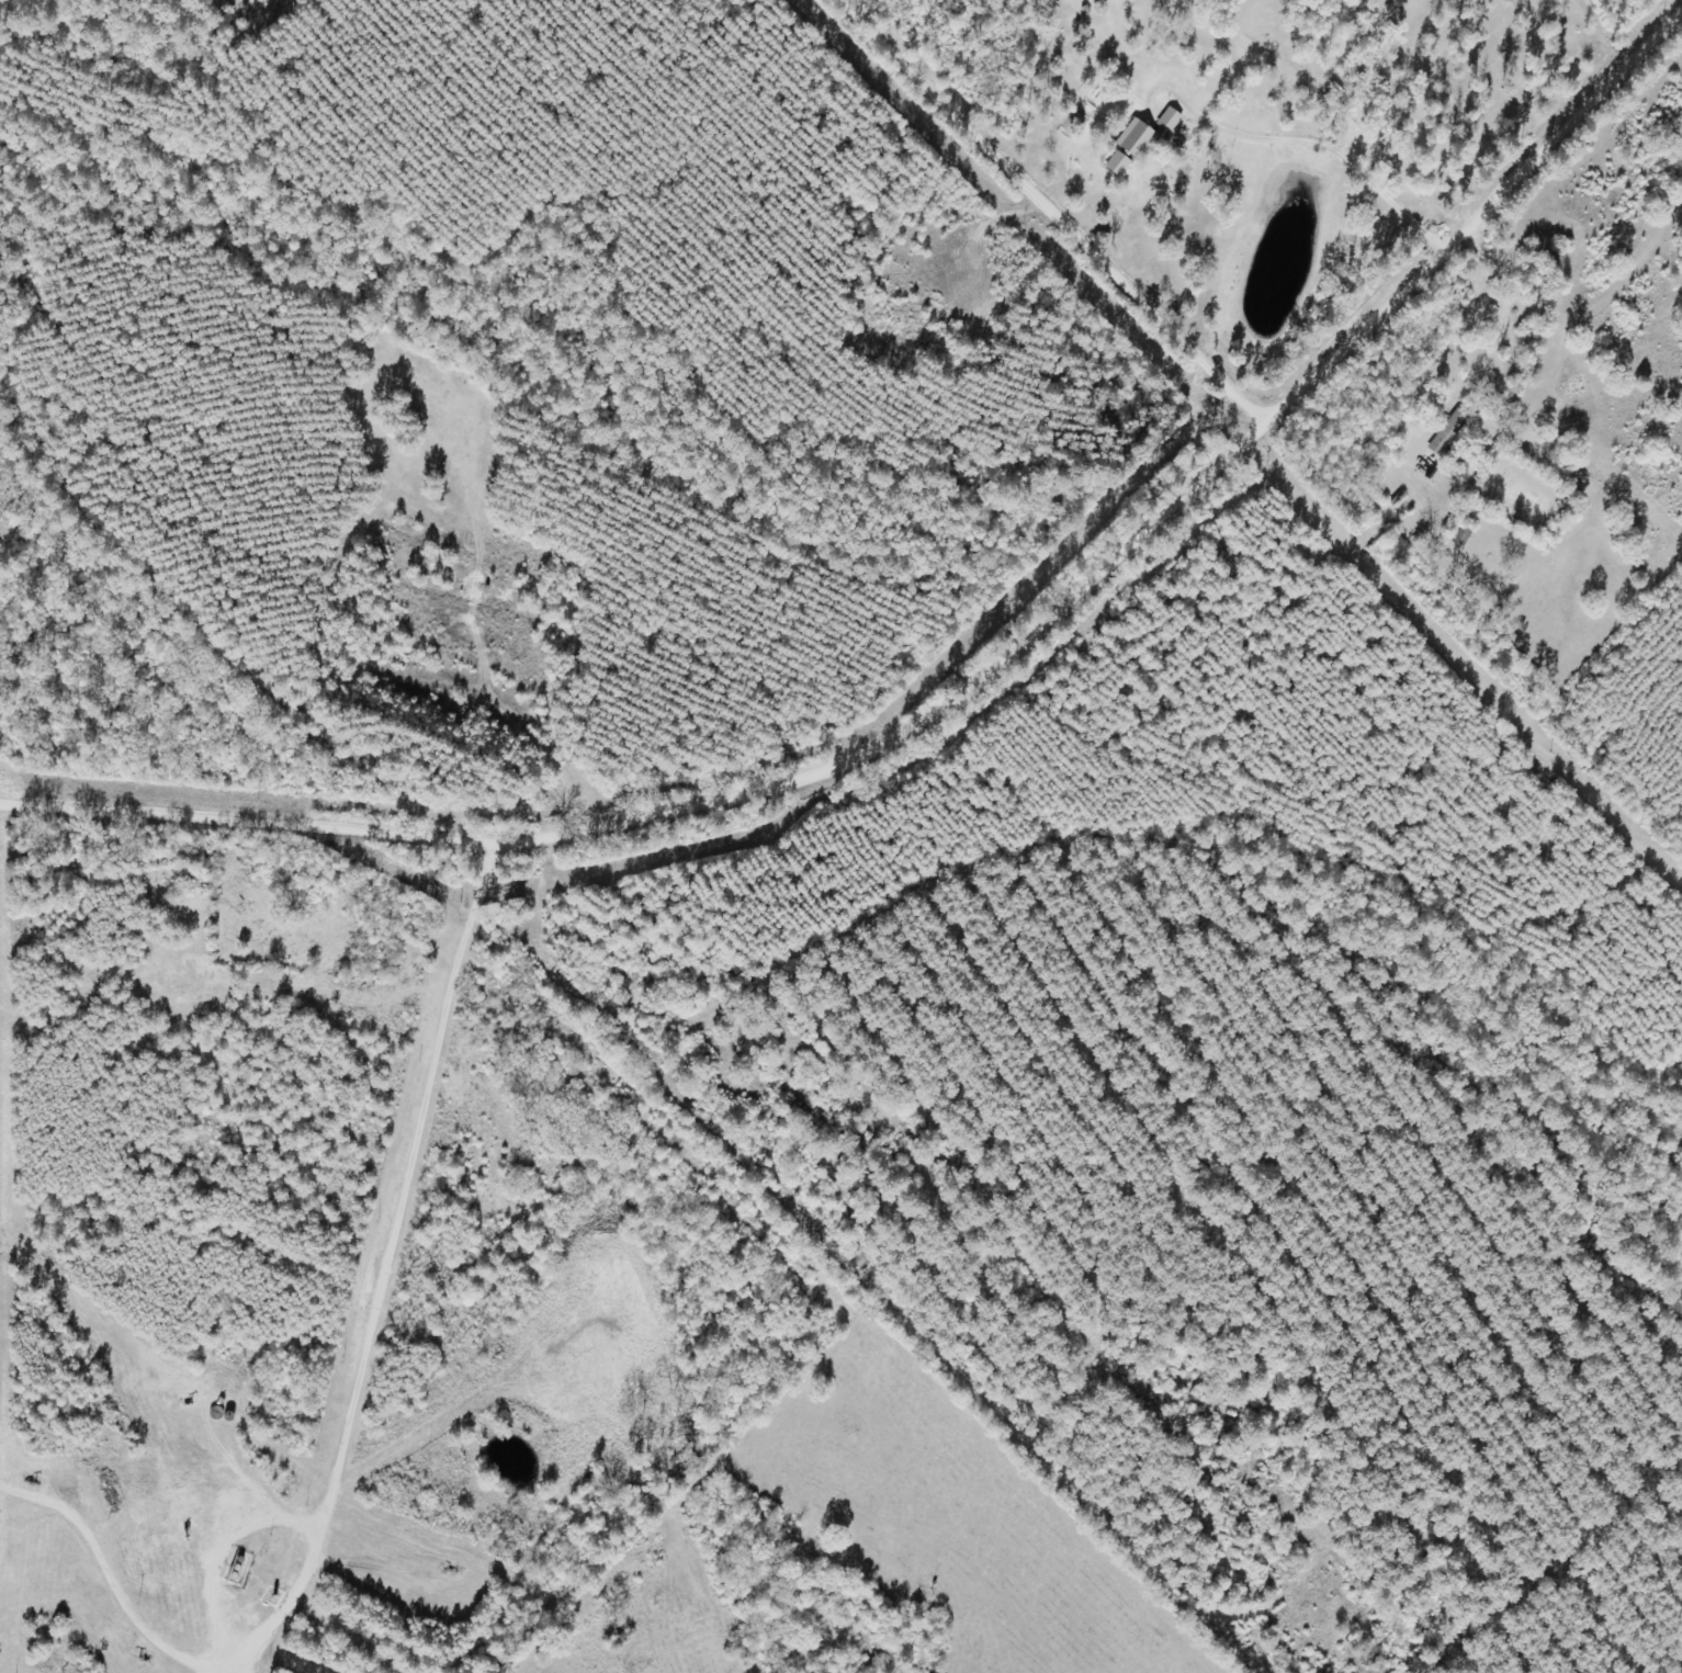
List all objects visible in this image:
building: (1134, 1)
building: (1151, 135)
building: (1122, 165)
road: (1036, 197)
building: (1447, 433)
road: (957, 669)
road: (383, 1263)
road: (271, 1649)

